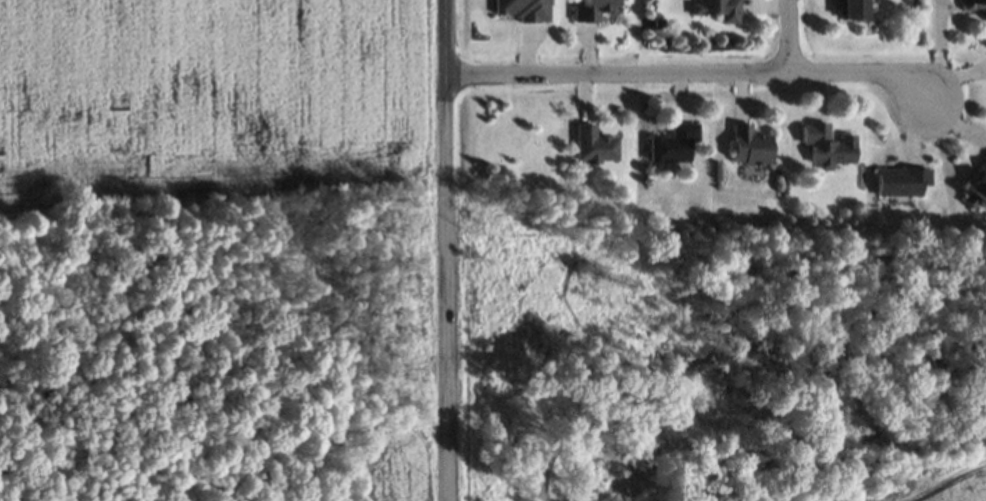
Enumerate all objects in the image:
building: (974, 6)
building: (853, 9)
building: (526, 10)
building: (594, 10)
building: (719, 10)
road: (791, 36)
road: (688, 73)
building: (675, 143)
building: (596, 145)
building: (752, 146)
building: (828, 146)
building: (902, 181)
building: (977, 191)
road: (448, 250)

